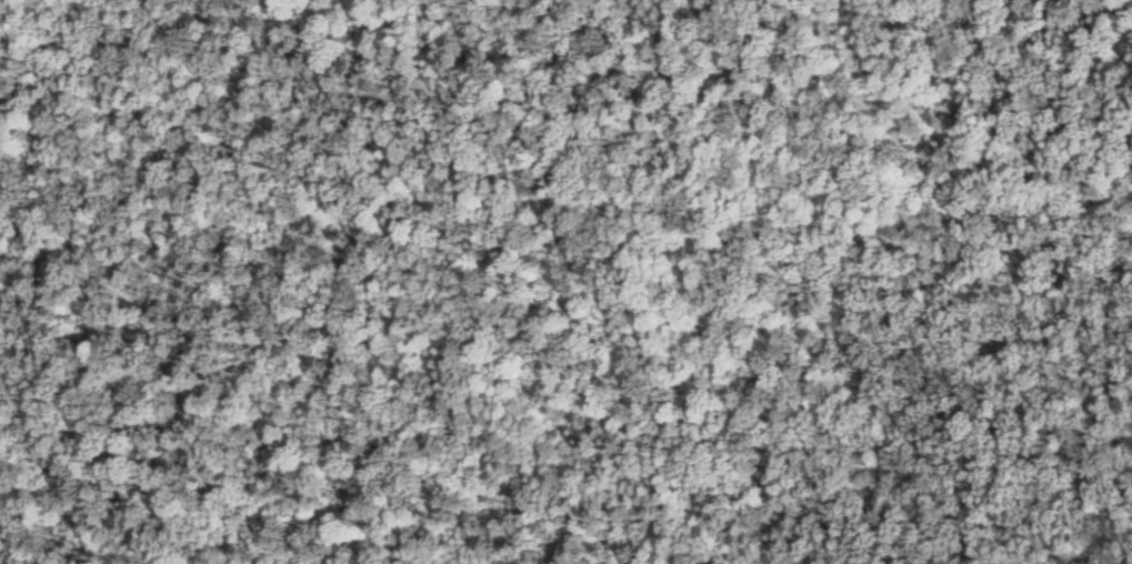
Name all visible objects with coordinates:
road: (754, 282)

